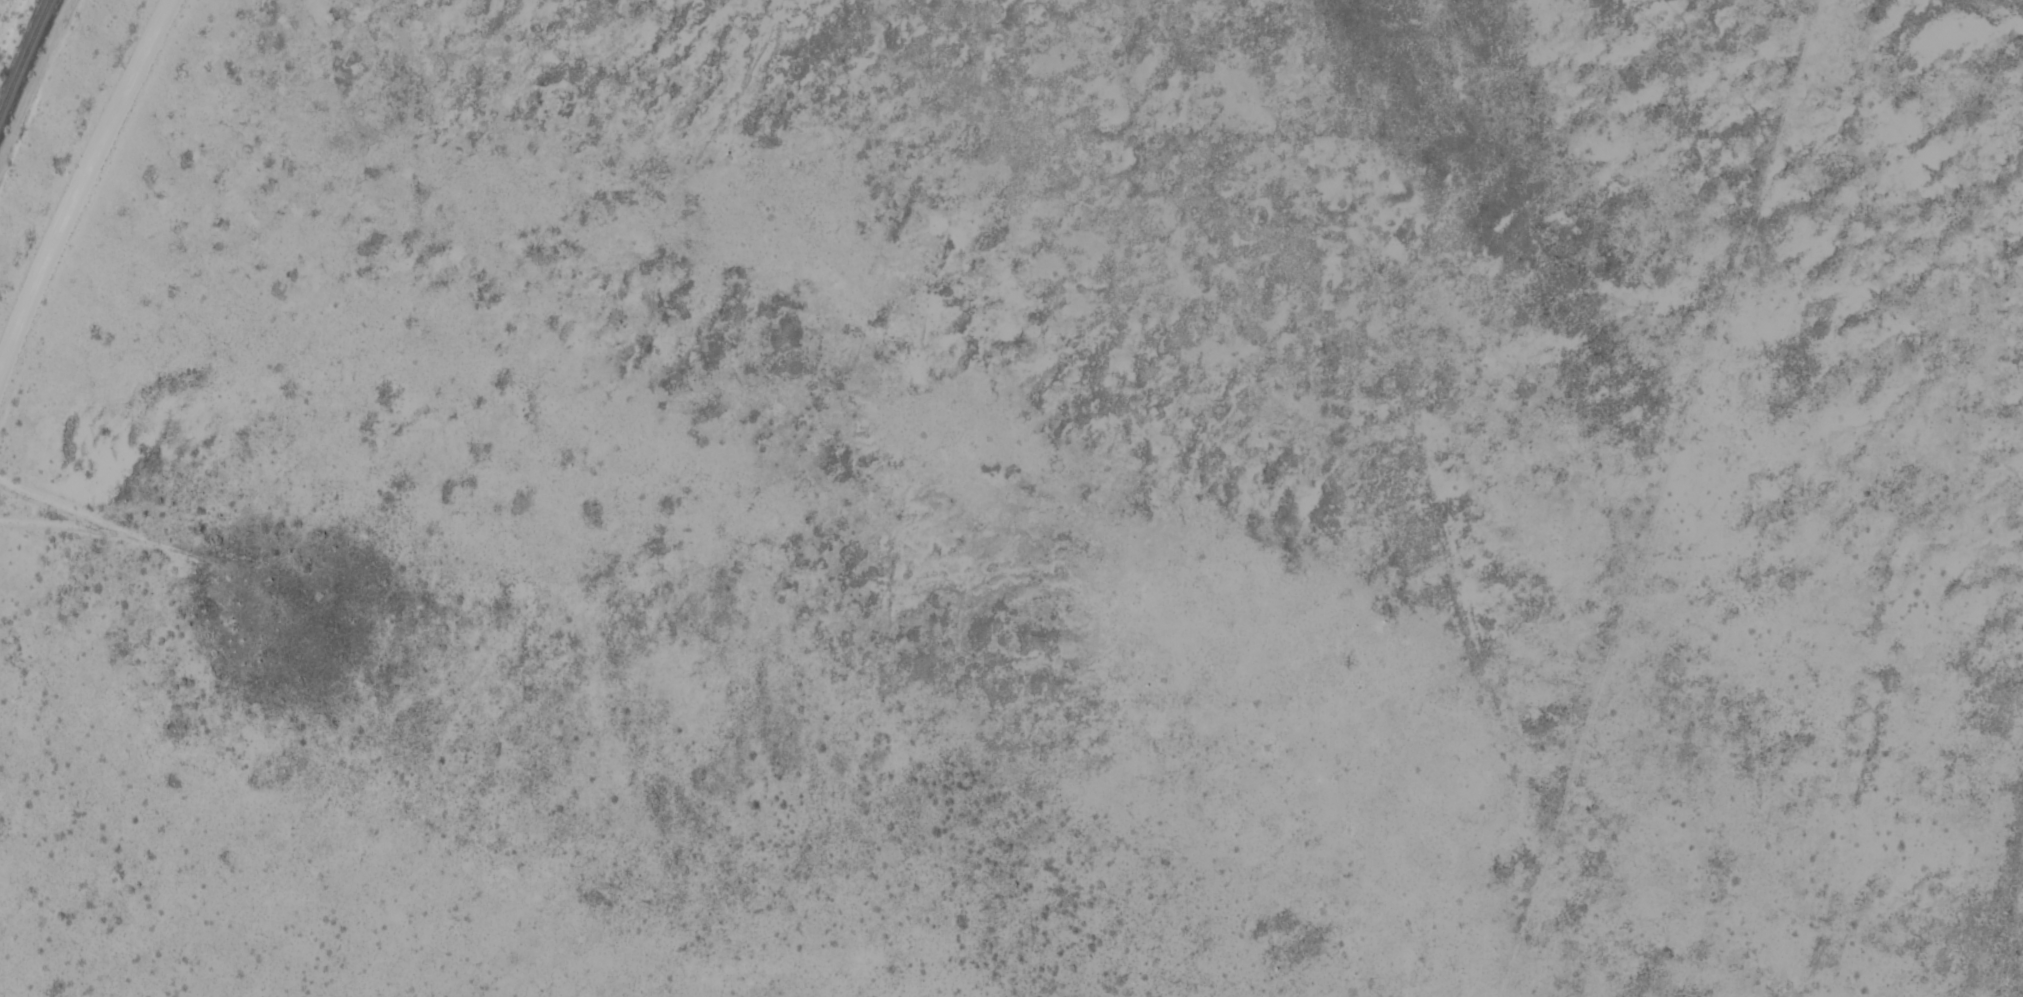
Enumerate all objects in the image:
railway: (23, 55)
road: (82, 183)

